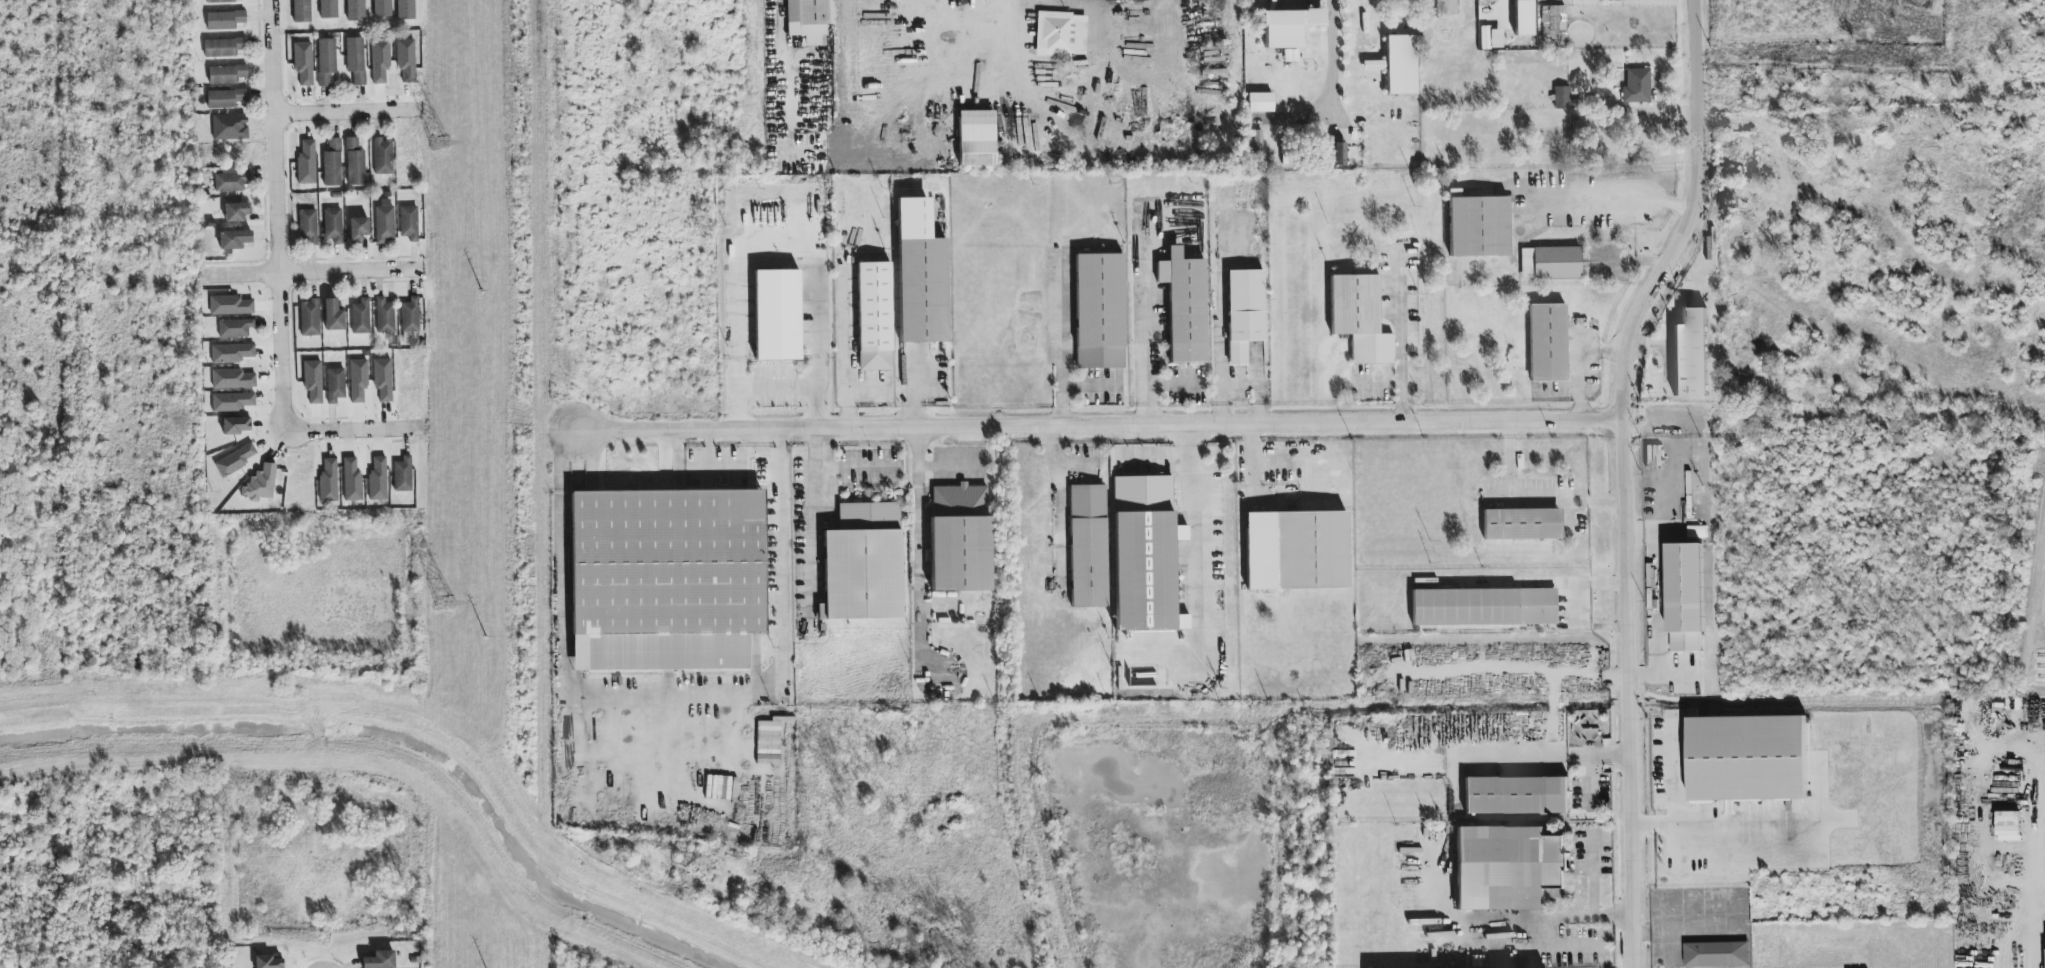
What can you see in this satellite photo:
building: (1313, 0)
building: (1613, 0)
building: (220, 1)
building: (1446, 7)
building: (382, 8)
building: (328, 9)
building: (405, 9)
building: (355, 10)
building: (301, 11)
building: (224, 20)
building: (808, 20)
building: (1554, 25)
building: (1288, 27)
building: (1061, 34)
road: (1008, 37)
building: (224, 47)
building: (356, 60)
building: (406, 60)
building: (326, 61)
building: (380, 61)
road: (1331, 61)
building: (303, 63)
building: (1401, 65)
building: (226, 74)
building: (1637, 86)
building: (225, 98)
building: (1565, 99)
building: (1260, 102)
road: (347, 113)
building: (976, 138)
power tower: (438, 142)
building: (1257, 143)
building: (1338, 154)
building: (383, 156)
building: (306, 163)
building: (355, 163)
building: (332, 164)
building: (230, 181)
road: (1613, 210)
building: (236, 212)
road: (278, 216)
road: (1688, 217)
building: (384, 222)
building: (408, 223)
building: (333, 225)
building: (307, 226)
building: (1478, 226)
building: (358, 229)
road: (776, 238)
building: (234, 240)
building: (1550, 263)
road: (310, 274)
building: (920, 275)
building: (230, 306)
building: (1185, 306)
building: (1099, 311)
building: (1244, 313)
building: (410, 315)
building: (777, 315)
building: (333, 316)
building: (384, 316)
building: (874, 316)
building: (361, 317)
building: (310, 318)
building: (1359, 318)
building: (235, 328)
road: (1147, 329)
road: (1222, 330)
road: (1062, 343)
building: (1548, 343)
road: (1403, 352)
building: (232, 353)
building: (1690, 354)
building: (232, 379)
building: (383, 379)
building: (358, 380)
building: (313, 381)
road: (1174, 383)
building: (335, 385)
road: (777, 385)
road: (1258, 388)
building: (233, 402)
road: (1100, 425)
building: (236, 426)
road: (355, 431)
road: (1253, 451)
road: (1508, 451)
road: (1155, 452)
building: (236, 460)
road: (925, 467)
road: (817, 470)
building: (402, 475)
building: (378, 478)
building: (328, 480)
building: (352, 481)
road: (1062, 482)
building: (260, 484)
road: (1567, 490)
building: (869, 511)
building: (1522, 524)
road: (918, 534)
building: (959, 539)
building: (1088, 546)
road: (1193, 546)
building: (1311, 551)
building: (1143, 553)
building: (861, 575)
building: (666, 579)
building: (1684, 597)
power tower: (444, 601)
road: (1576, 601)
building: (1484, 607)
road: (1513, 670)
road: (667, 689)
road: (1626, 694)
road: (1556, 714)
river: (400, 745)
road: (1501, 757)
building: (1746, 758)
building: (1516, 795)
road: (1726, 826)
building: (1507, 867)
road: (1592, 875)
road: (1546, 918)
road: (1668, 930)
road: (2036, 939)
building: (1715, 954)
building: (379, 960)
building: (268, 962)

